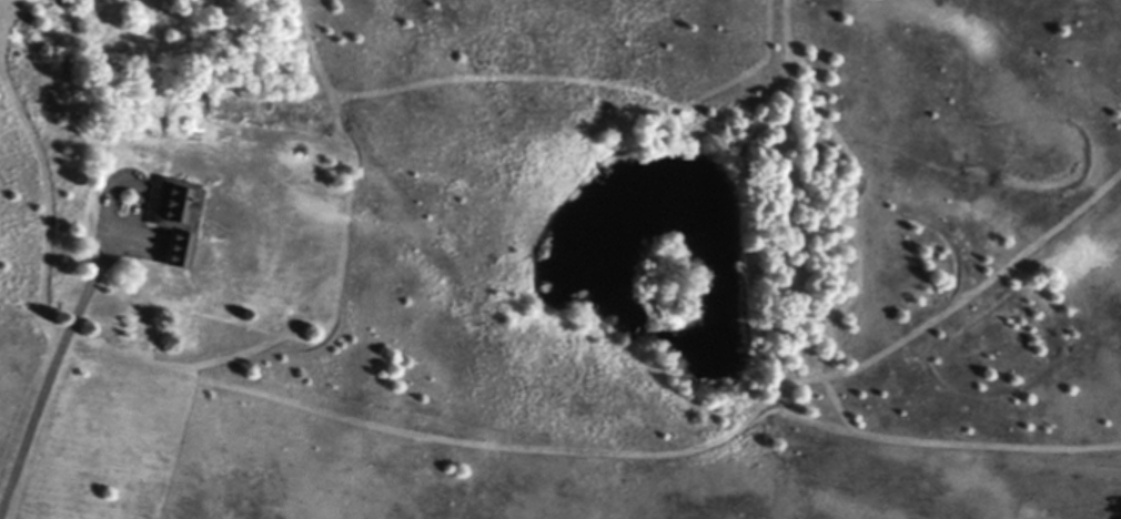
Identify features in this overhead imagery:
building: (169, 215)
road: (55, 350)

